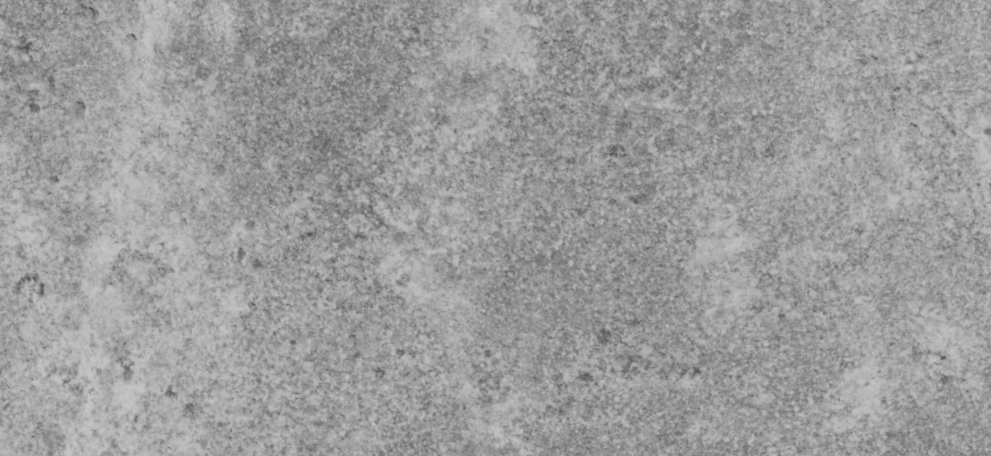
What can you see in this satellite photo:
park: (495, 228)

